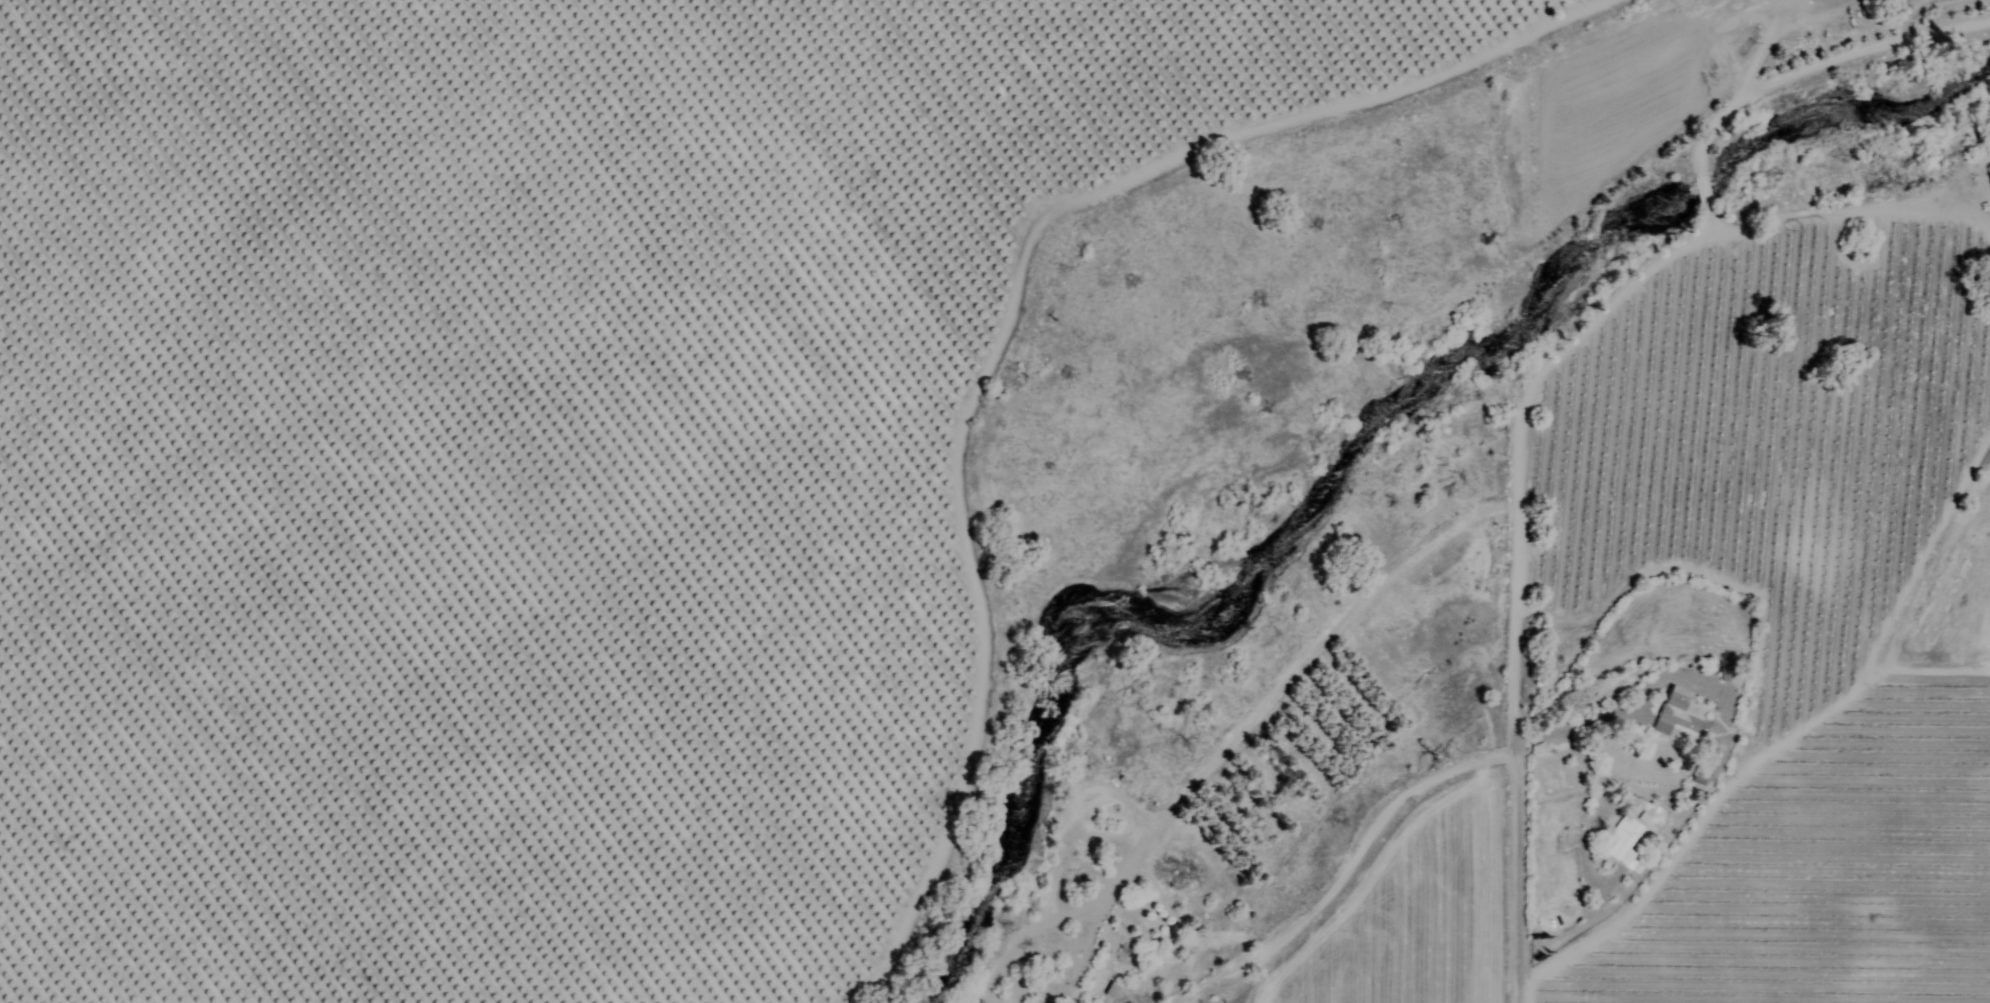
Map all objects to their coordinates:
road: (1819, 65)
building: (1988, 179)
road: (1704, 195)
road: (1846, 213)
crop: (575, 451)
road: (1519, 567)
crop: (1769, 618)
road: (1273, 694)
building: (1681, 719)
road: (1720, 762)
road: (1731, 791)
building: (1625, 845)
road: (1348, 872)
building: (1111, 991)

